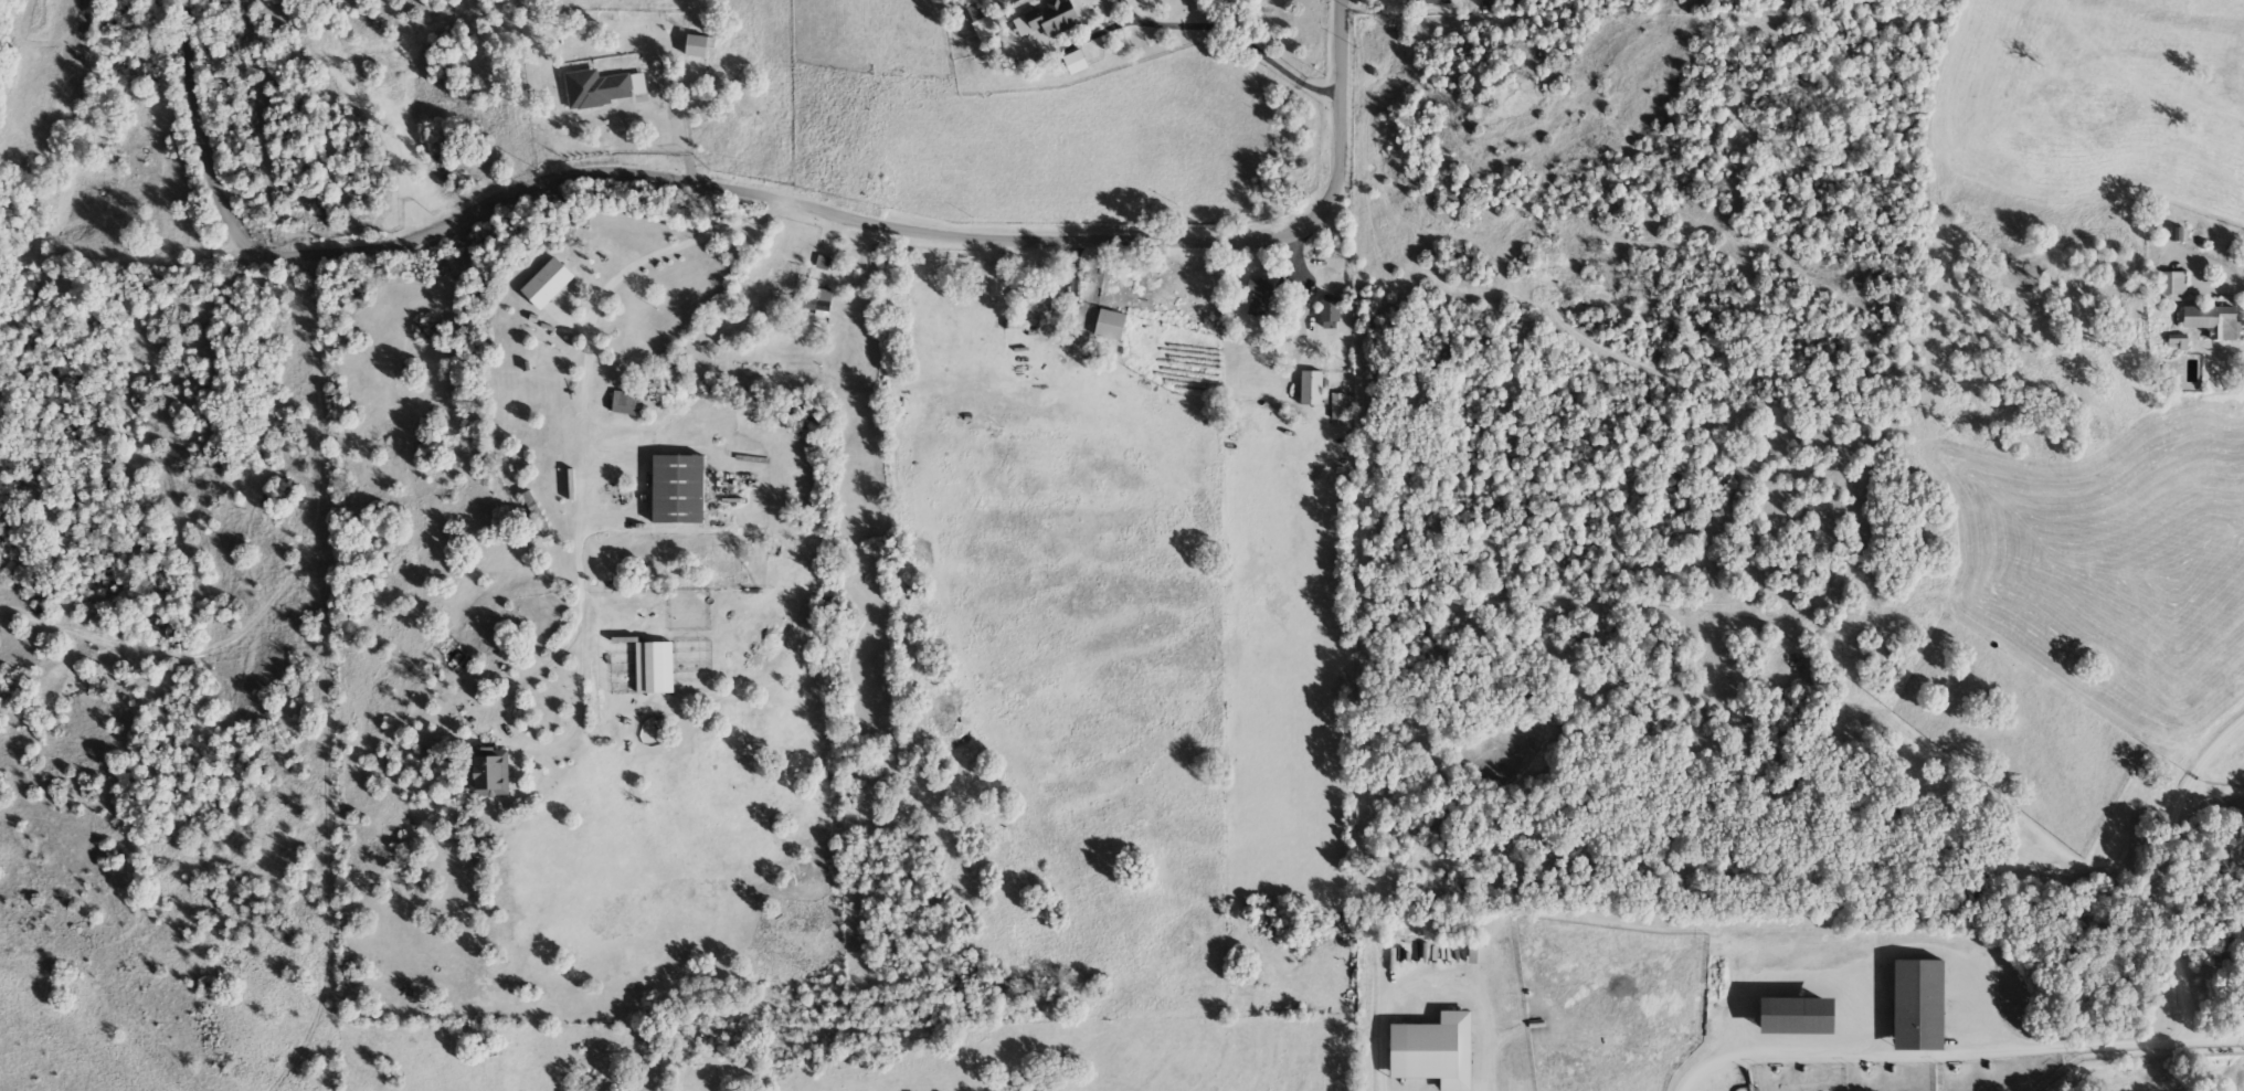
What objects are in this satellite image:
building: (1051, 18)
building: (989, 25)
road: (1236, 33)
building: (695, 46)
building: (1076, 63)
building: (2024, 64)
building: (595, 88)
road: (759, 195)
road: (2212, 258)
building: (779, 278)
building: (2171, 283)
building: (544, 284)
road: (1306, 289)
building: (1030, 299)
building: (1329, 314)
building: (2210, 320)
building: (1109, 326)
building: (1276, 343)
road: (585, 348)
building: (1310, 389)
building: (624, 403)
building: (1337, 406)
building: (677, 490)
building: (534, 513)
building: (654, 668)
road: (326, 680)
road: (529, 742)
building: (487, 773)
road: (2158, 864)
building: (1915, 1006)
building: (1791, 1017)
road: (1955, 1055)

